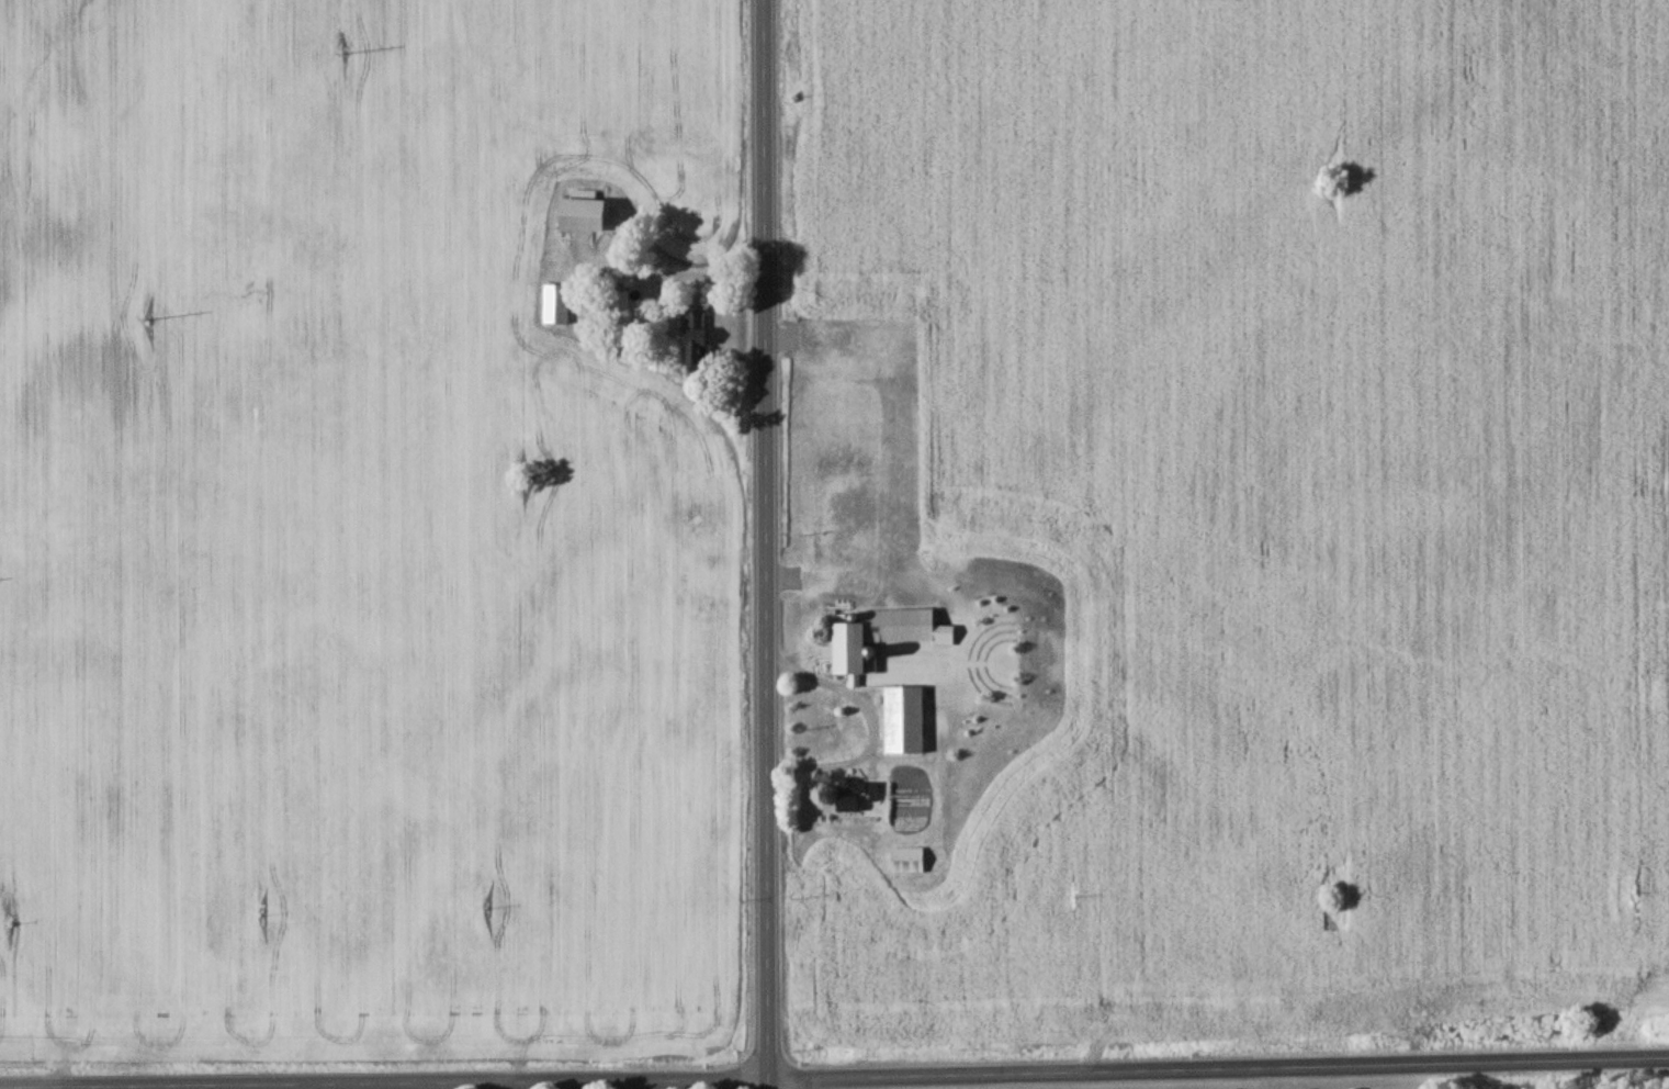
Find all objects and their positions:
building: (585, 215)
building: (557, 307)
building: (621, 311)
building: (698, 340)
road: (765, 543)
building: (884, 639)
building: (906, 723)
building: (857, 797)
building: (907, 863)
road: (860, 1079)
road: (1017, 1082)
park: (1320, 1086)
road: (210, 1088)

